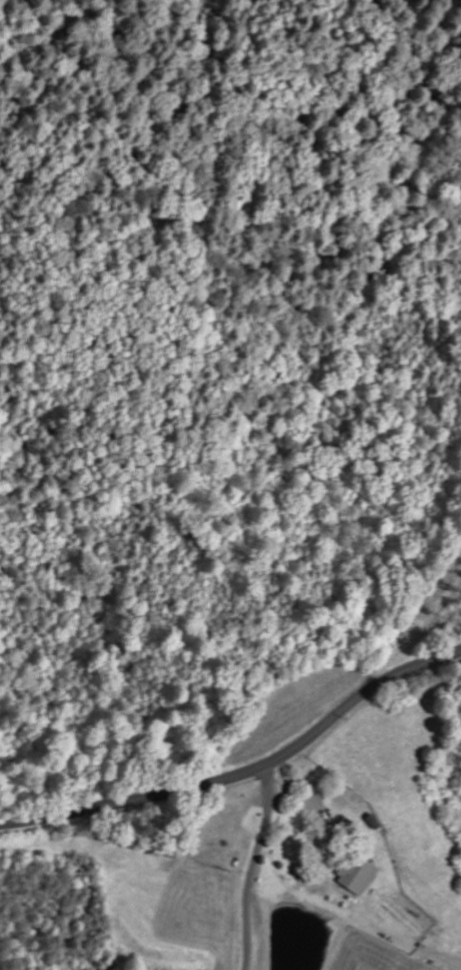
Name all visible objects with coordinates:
road: (244, 773)
road: (277, 831)
road: (254, 866)
building: (355, 877)

